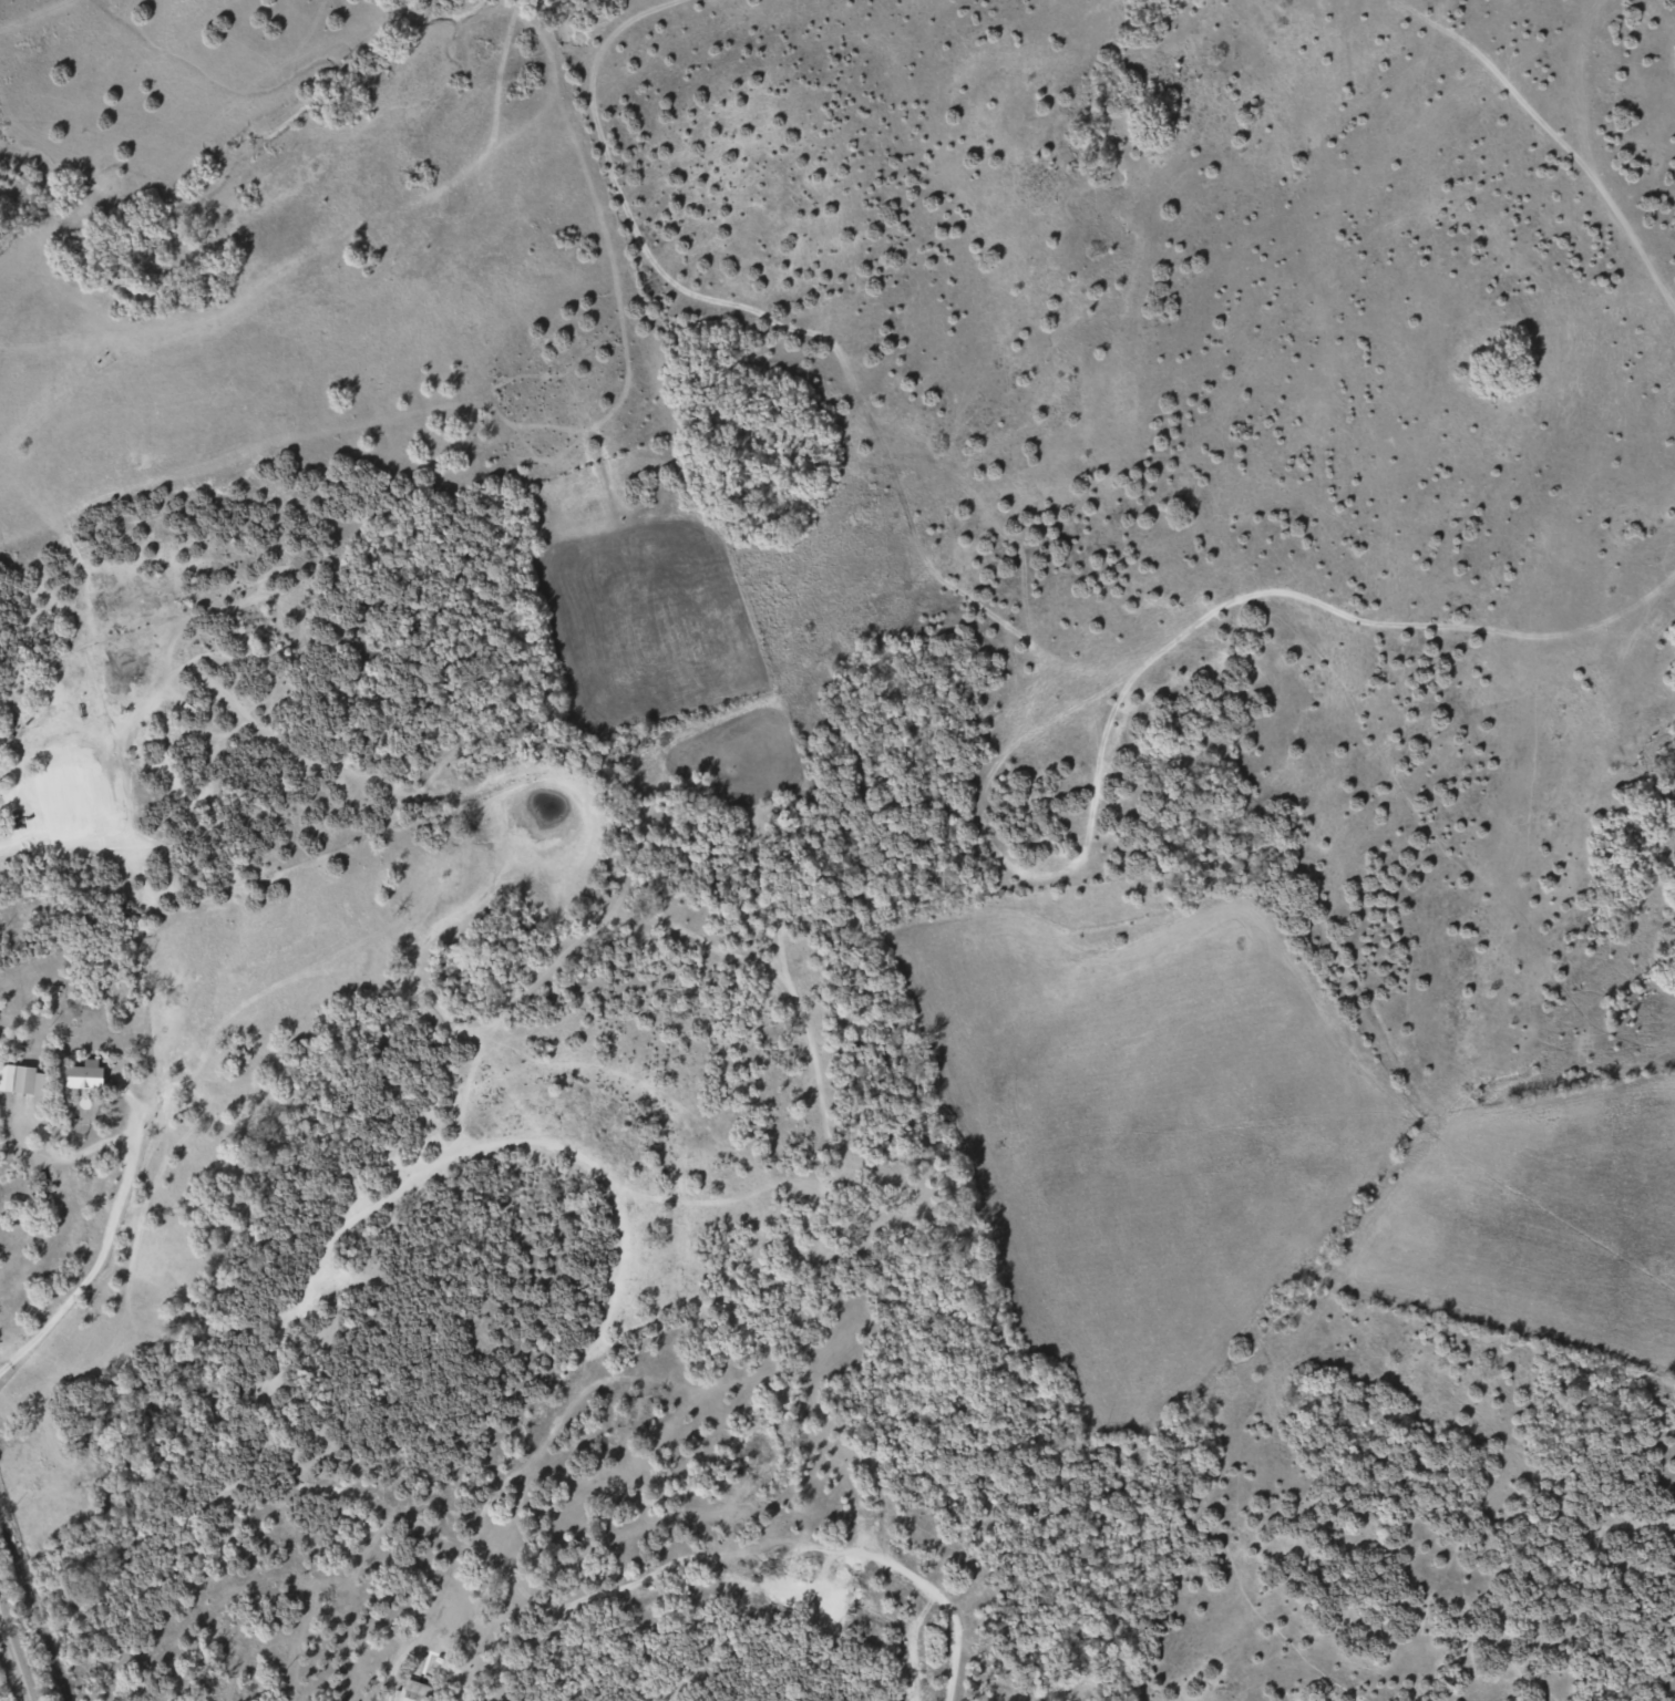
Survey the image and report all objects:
building: (88, 1075)
building: (23, 1080)
road: (105, 1241)
road: (29, 1620)
road: (12, 1662)
building: (411, 1691)

